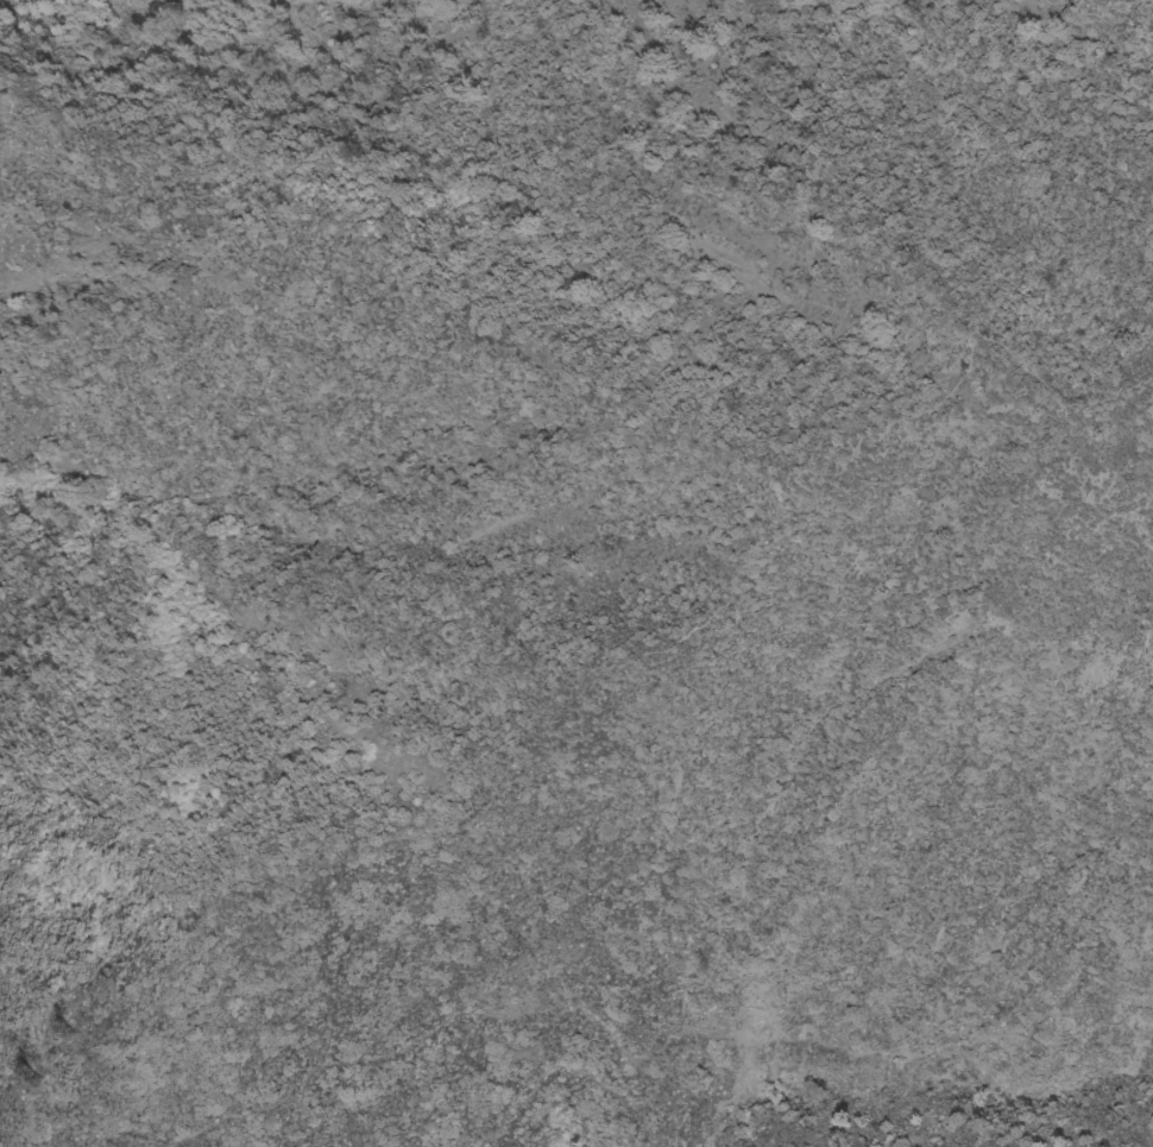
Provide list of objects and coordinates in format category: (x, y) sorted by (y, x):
road: (593, 679)
power tower: (94, 990)
road: (780, 1029)
power tower: (48, 1041)
road: (353, 1063)
building: (626, 1070)
storage tank: (626, 1070)
power tower: (4, 1091)

